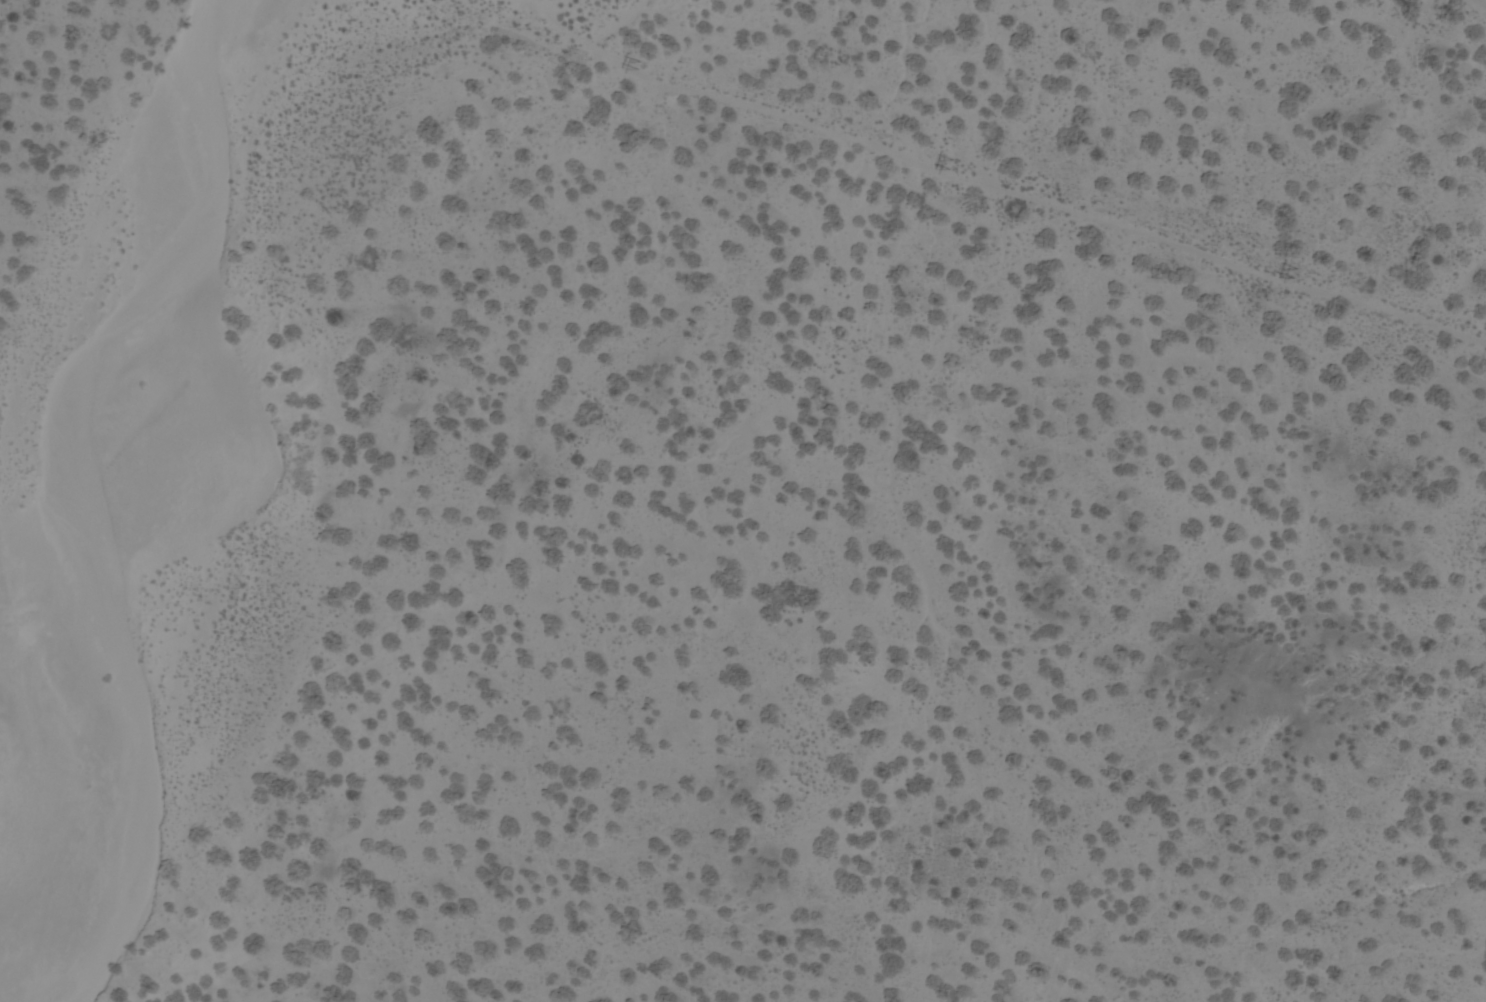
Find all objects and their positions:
power tower: (636, 65)
power tower: (951, 166)
power tower: (1294, 276)

